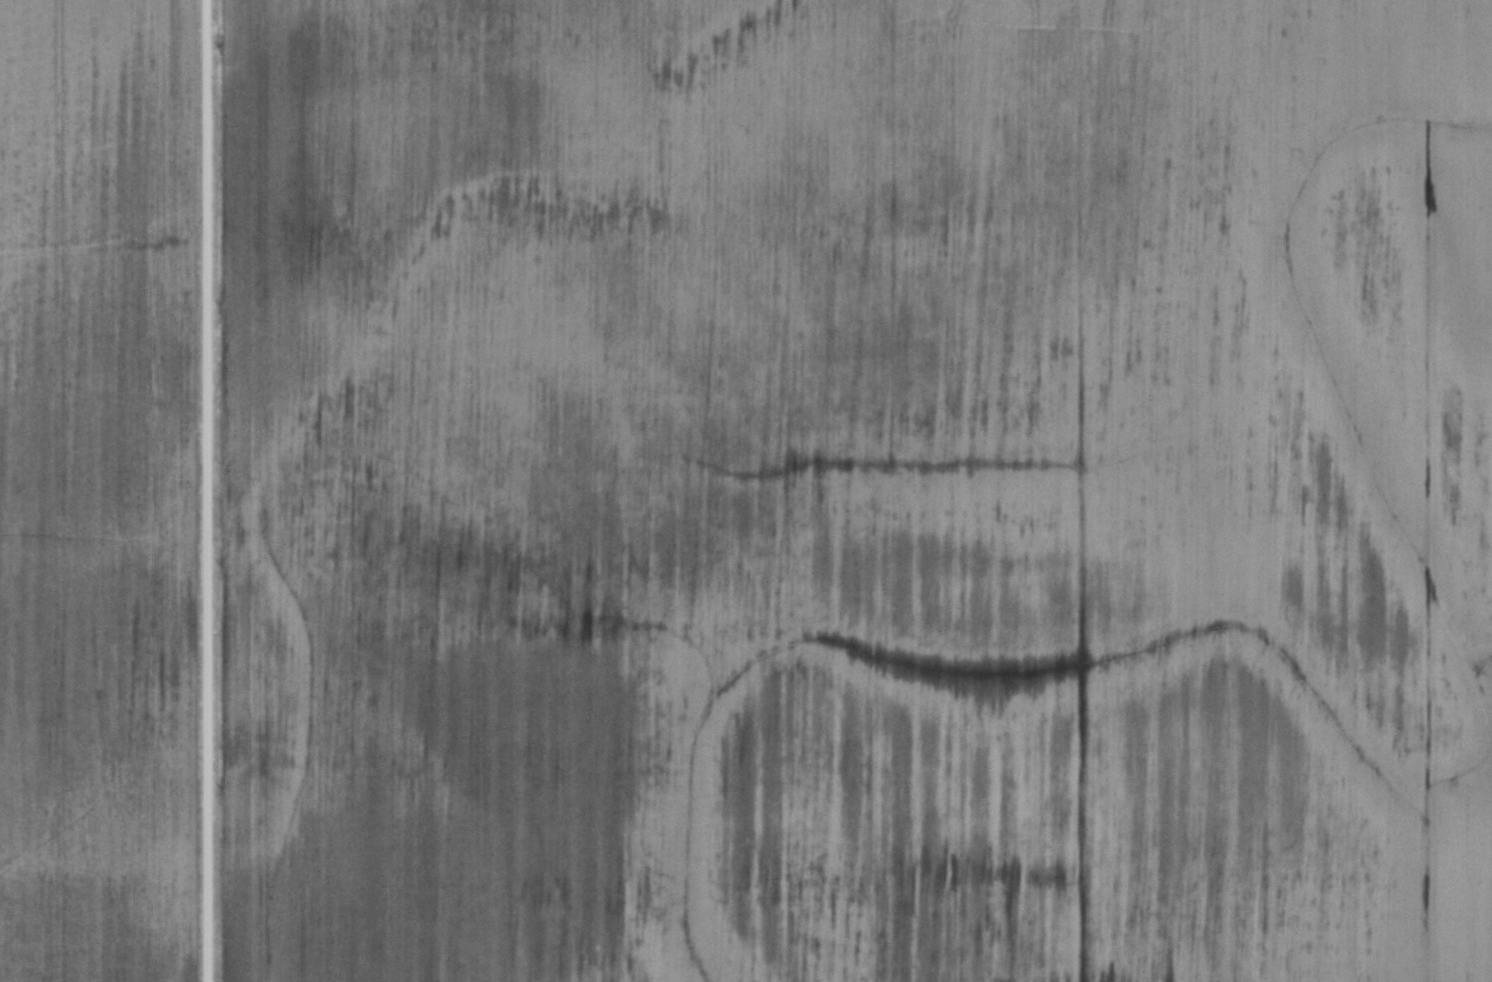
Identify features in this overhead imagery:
road: (169, 491)

